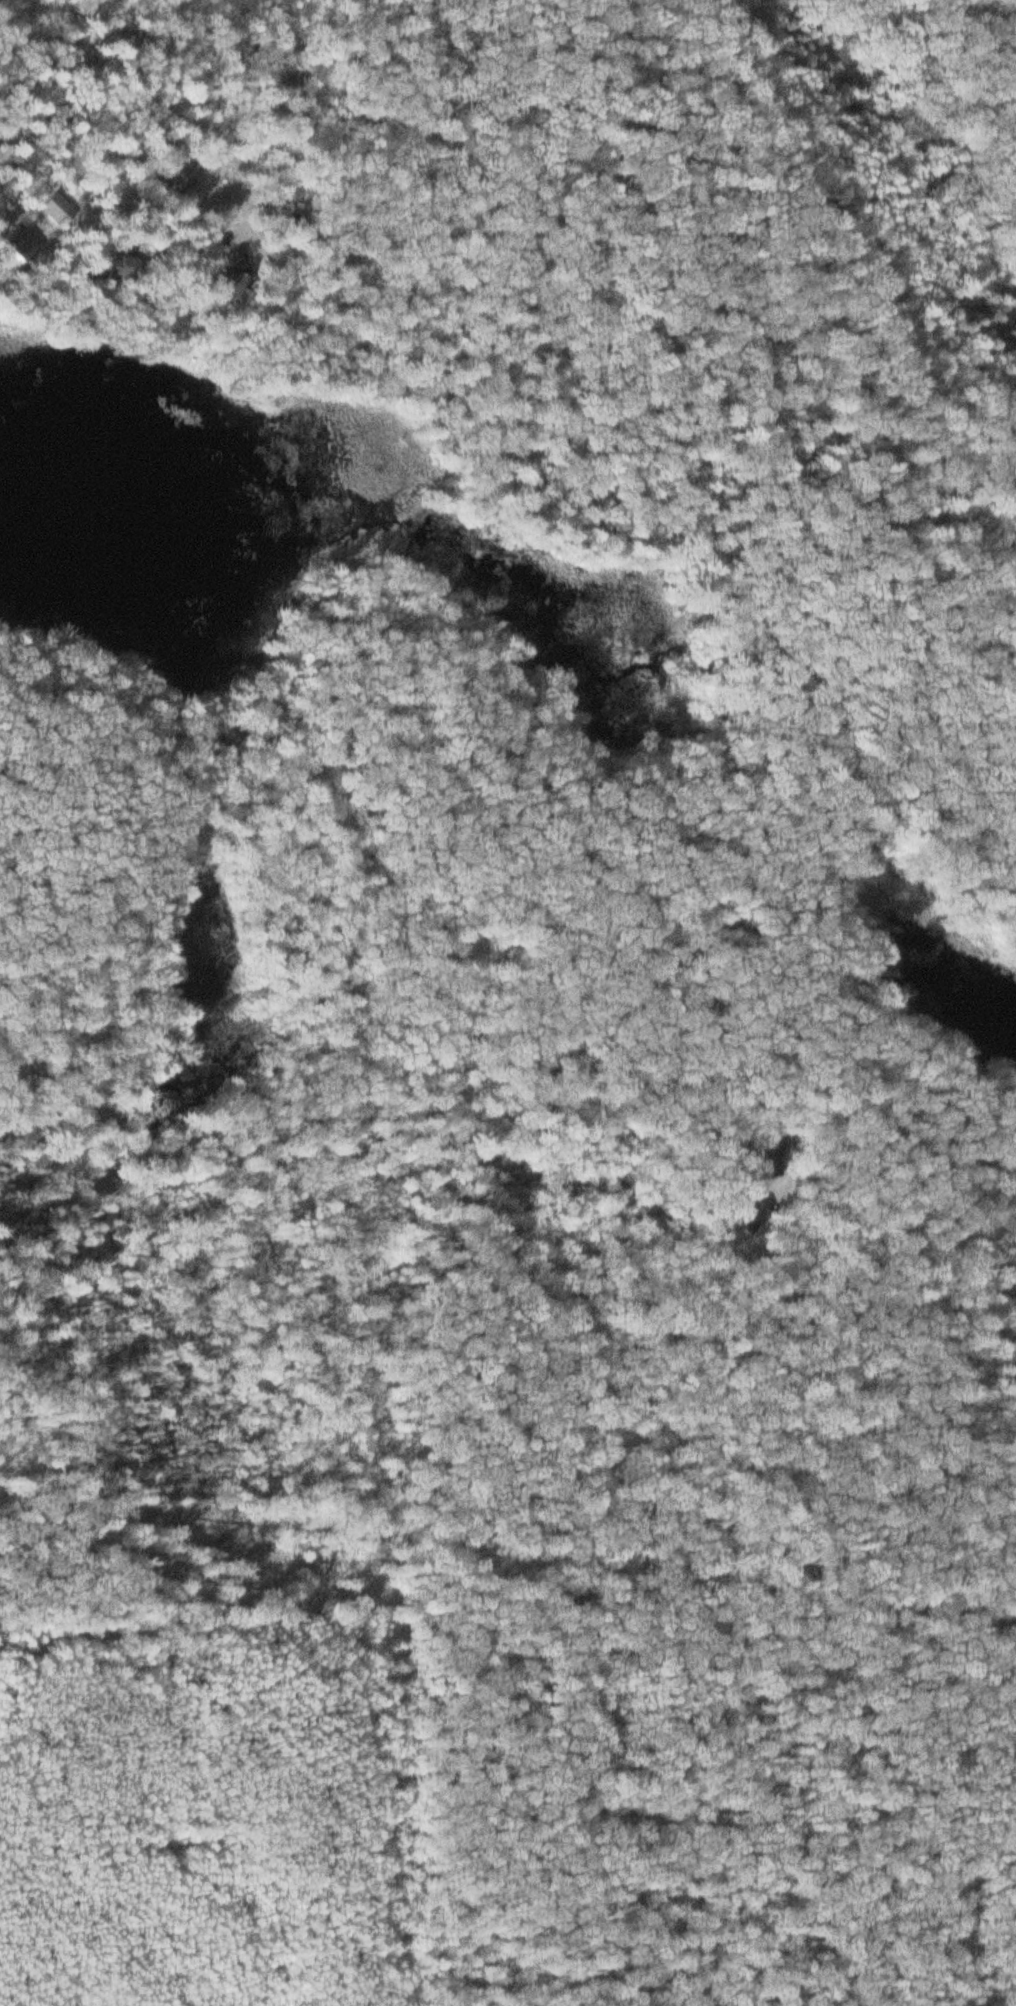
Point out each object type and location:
road: (118, 123)
road: (55, 160)
building: (174, 169)
building: (277, 219)
building: (114, 273)
building: (237, 279)
road: (981, 1172)
building: (1015, 1182)
road: (507, 1548)

